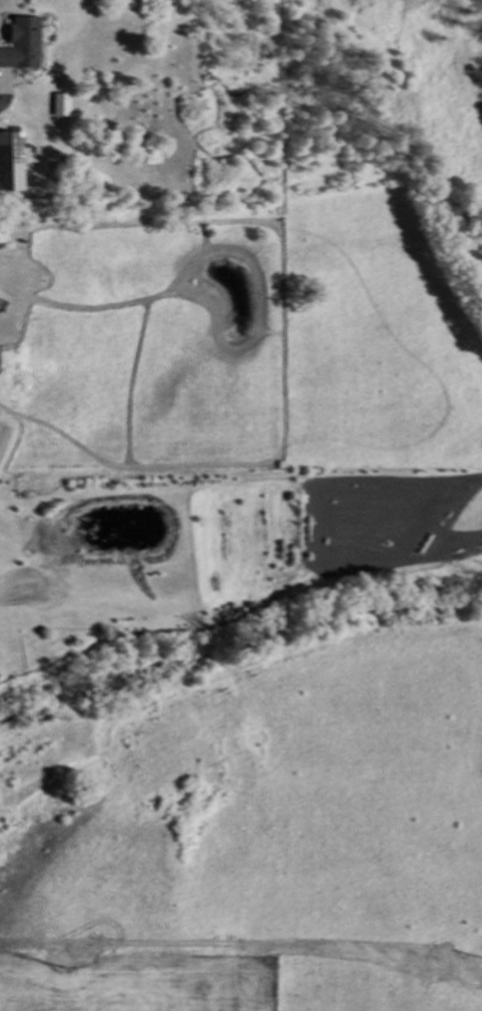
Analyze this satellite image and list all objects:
building: (19, 43)
road: (2, 93)
building: (62, 104)
building: (8, 162)

